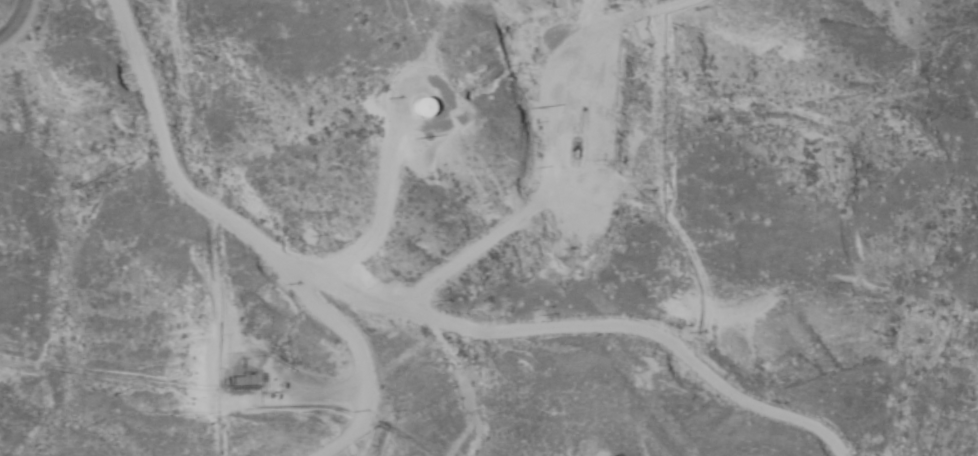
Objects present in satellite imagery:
road: (21, 26)
building: (421, 108)
road: (242, 231)
road: (594, 236)

